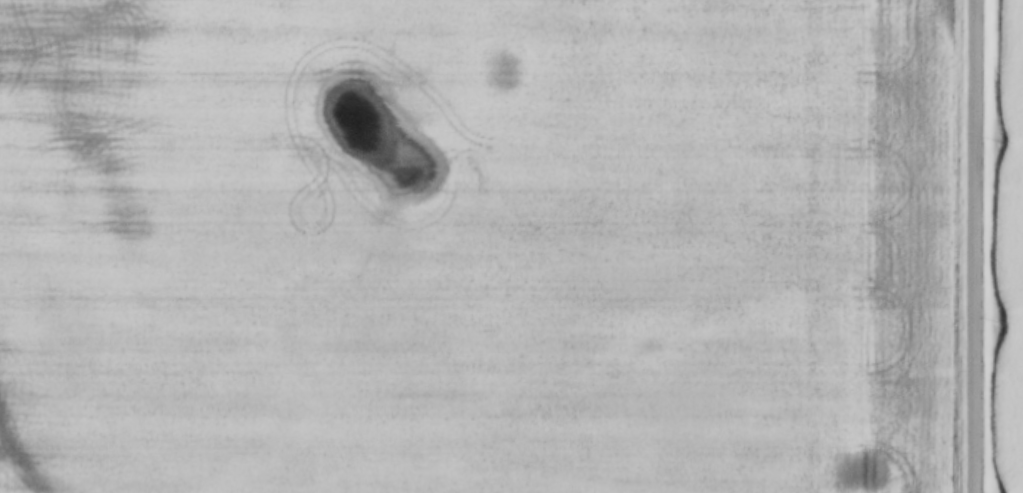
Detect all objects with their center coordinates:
road: (974, 246)

